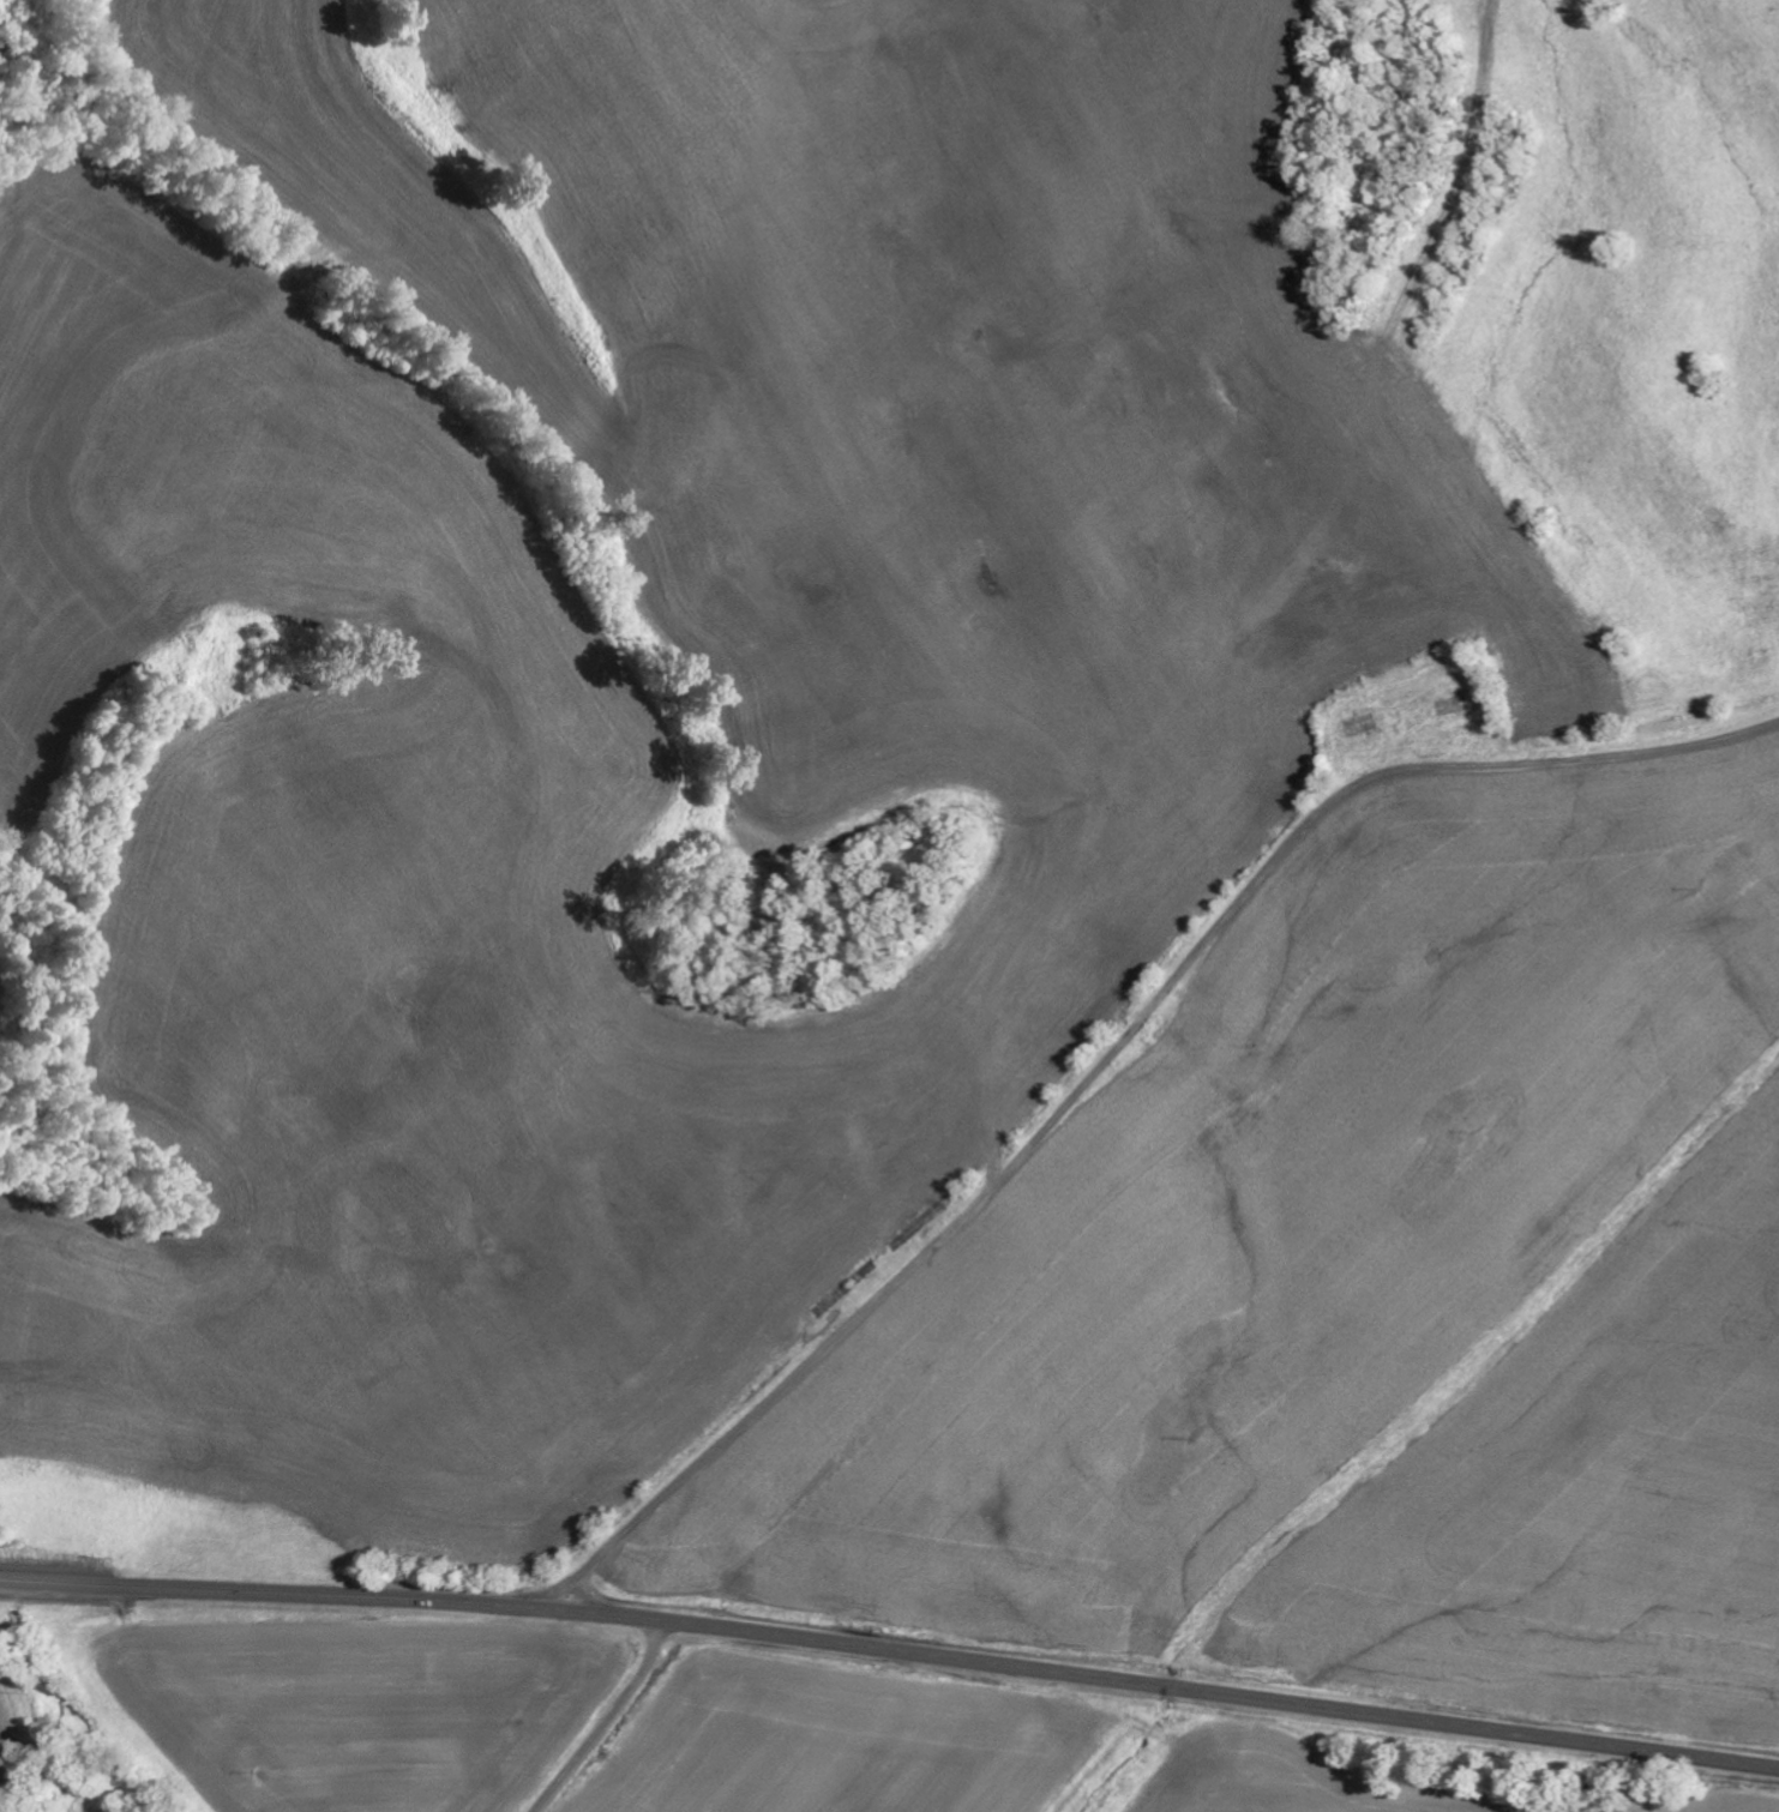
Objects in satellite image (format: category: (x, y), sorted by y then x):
road: (1063, 1006)
road: (891, 1650)
road: (564, 1723)

